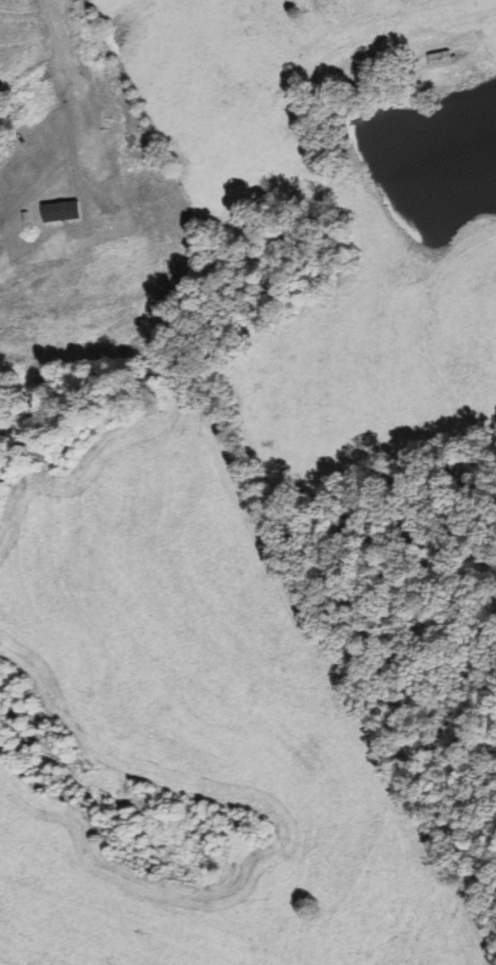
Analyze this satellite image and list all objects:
building: (445, 57)

